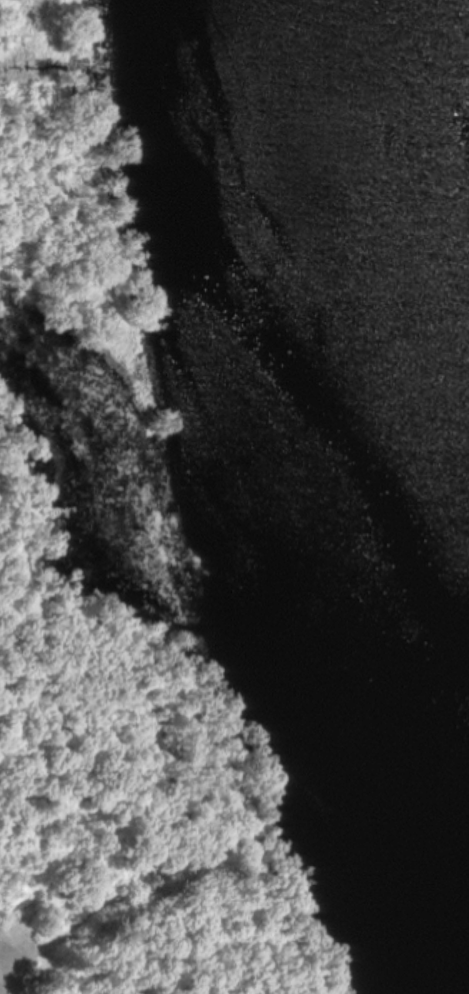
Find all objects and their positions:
river: (348, 361)

